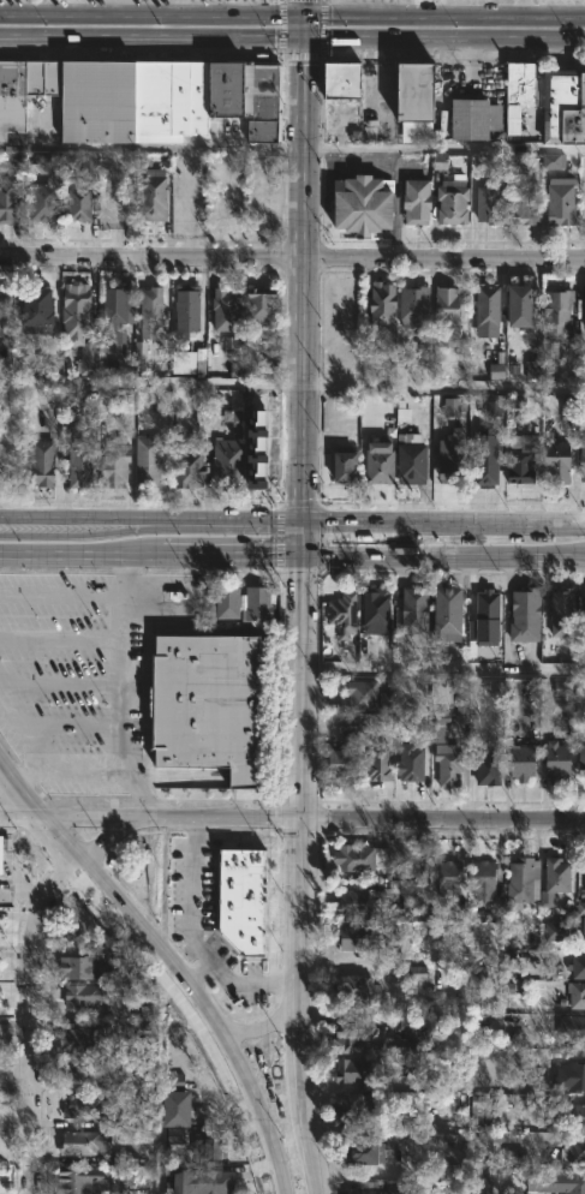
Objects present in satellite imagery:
road: (117, 7)
road: (178, 8)
road: (300, 8)
road: (405, 8)
road: (520, 8)
road: (49, 16)
road: (199, 17)
traffic signals: (300, 17)
road: (352, 17)
road: (495, 17)
road: (300, 26)
road: (201, 37)
traffic signals: (300, 37)
road: (442, 37)
road: (50, 38)
building: (350, 80)
building: (418, 91)
building: (521, 95)
building: (144, 98)
building: (566, 106)
building: (477, 118)
road: (150, 147)
road: (442, 148)
building: (550, 161)
building: (453, 193)
building: (154, 196)
building: (80, 198)
building: (10, 199)
building: (525, 201)
building: (43, 202)
building: (419, 202)
building: (563, 202)
building: (491, 204)
building: (359, 205)
road: (292, 253)
road: (299, 289)
building: (384, 303)
building: (117, 305)
building: (264, 305)
building: (490, 305)
building: (416, 306)
building: (525, 306)
building: (190, 308)
building: (227, 308)
building: (559, 310)
building: (5, 311)
building: (40, 311)
building: (79, 311)
building: (153, 312)
building: (449, 316)
building: (139, 357)
building: (425, 357)
building: (183, 362)
building: (532, 369)
road: (292, 383)
building: (494, 406)
building: (454, 407)
building: (235, 423)
building: (83, 459)
building: (455, 459)
building: (413, 460)
building: (584, 460)
building: (117, 461)
building: (149, 461)
building: (521, 461)
building: (382, 462)
building: (560, 462)
building: (42, 464)
building: (229, 464)
building: (189, 466)
building: (488, 466)
building: (345, 467)
road: (217, 517)
traffic signals: (299, 517)
road: (67, 518)
road: (442, 518)
traffic signals: (299, 542)
road: (229, 543)
road: (442, 543)
road: (79, 545)
road: (60, 596)
building: (228, 603)
building: (258, 604)
building: (490, 607)
building: (378, 610)
building: (417, 610)
building: (345, 614)
building: (452, 614)
building: (527, 615)
building: (561, 621)
road: (59, 637)
road: (441, 668)
road: (118, 687)
building: (362, 697)
building: (208, 705)
building: (460, 714)
building: (346, 726)
building: (441, 726)
road: (20, 729)
building: (583, 759)
building: (524, 763)
building: (559, 763)
building: (381, 764)
building: (411, 764)
building: (449, 764)
building: (345, 765)
road: (64, 768)
building: (490, 771)
road: (298, 817)
road: (292, 820)
building: (4, 849)
building: (356, 858)
building: (450, 879)
building: (557, 879)
building: (485, 880)
building: (523, 880)
building: (414, 894)
building: (241, 901)
building: (364, 901)
building: (580, 908)
road: (123, 914)
building: (563, 926)
building: (583, 929)
building: (360, 936)
road: (195, 941)
building: (112, 950)
building: (507, 961)
building: (83, 966)
building: (578, 966)
building: (410, 973)
road: (195, 975)
road: (35, 983)
building: (358, 989)
building: (578, 993)
building: (94, 997)
building: (575, 1026)
building: (406, 1029)
building: (83, 1037)
building: (352, 1037)
building: (84, 1070)
road: (19, 1071)
building: (363, 1071)
building: (572, 1075)
road: (159, 1098)
building: (535, 1102)
building: (85, 1104)
building: (179, 1106)
building: (478, 1106)
building: (358, 1109)
building: (572, 1115)
road: (277, 1127)
road: (255, 1132)
building: (173, 1136)
building: (85, 1141)
building: (211, 1145)
building: (369, 1151)
building: (573, 1151)
building: (514, 1157)
building: (79, 1177)
building: (205, 1181)
building: (562, 1182)
building: (370, 1188)

